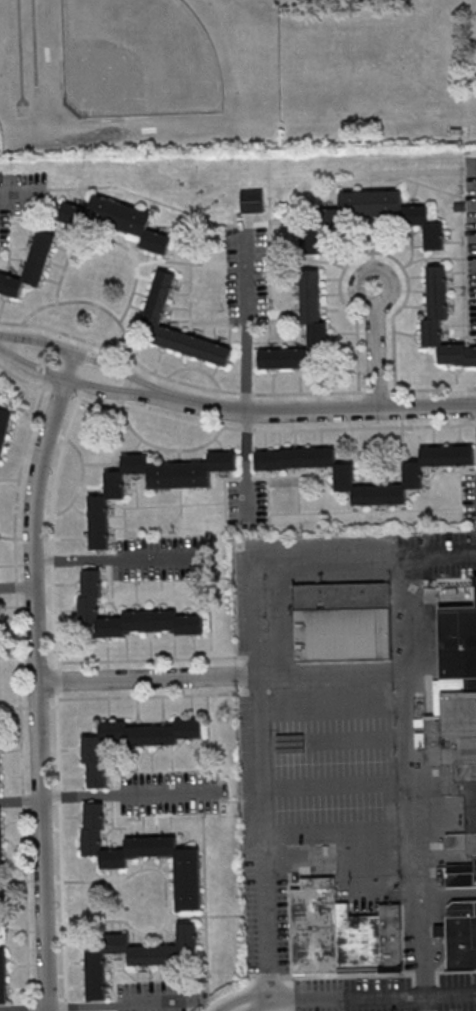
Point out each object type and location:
park: (136, 61)
road: (419, 183)
road: (23, 190)
parking lot: (20, 198)
building: (252, 200)
building: (389, 212)
road: (213, 217)
building: (120, 221)
road: (71, 241)
road: (14, 247)
road: (133, 258)
road: (180, 262)
building: (30, 266)
parking lot: (246, 269)
building: (437, 292)
road: (190, 293)
building: (159, 296)
building: (311, 296)
road: (72, 301)
road: (245, 324)
road: (214, 325)
road: (462, 337)
road: (273, 341)
building: (195, 346)
road: (377, 348)
road: (196, 368)
road: (24, 379)
road: (180, 380)
road: (128, 383)
road: (432, 388)
road: (380, 390)
road: (301, 413)
building: (4, 429)
road: (272, 429)
road: (163, 448)
road: (295, 476)
building: (344, 477)
road: (246, 478)
road: (18, 481)
building: (151, 485)
road: (225, 494)
road: (268, 500)
parking lot: (246, 501)
road: (160, 506)
road: (365, 511)
road: (181, 512)
road: (52, 531)
road: (440, 554)
parking lot: (157, 558)
road: (201, 559)
road: (112, 585)
road: (18, 588)
building: (127, 615)
building: (342, 621)
road: (150, 659)
road: (337, 673)
road: (252, 677)
road: (38, 679)
road: (55, 679)
road: (140, 679)
road: (150, 695)
road: (264, 706)
road: (412, 726)
building: (456, 729)
building: (131, 743)
building: (0, 780)
road: (129, 794)
road: (22, 801)
road: (21, 802)
building: (0, 840)
road: (61, 850)
building: (144, 855)
road: (448, 894)
building: (342, 933)
building: (459, 935)
road: (421, 944)
building: (135, 956)
building: (3, 979)
road: (452, 991)
road: (361, 993)
road: (255, 995)
road: (282, 996)
road: (429, 1001)

